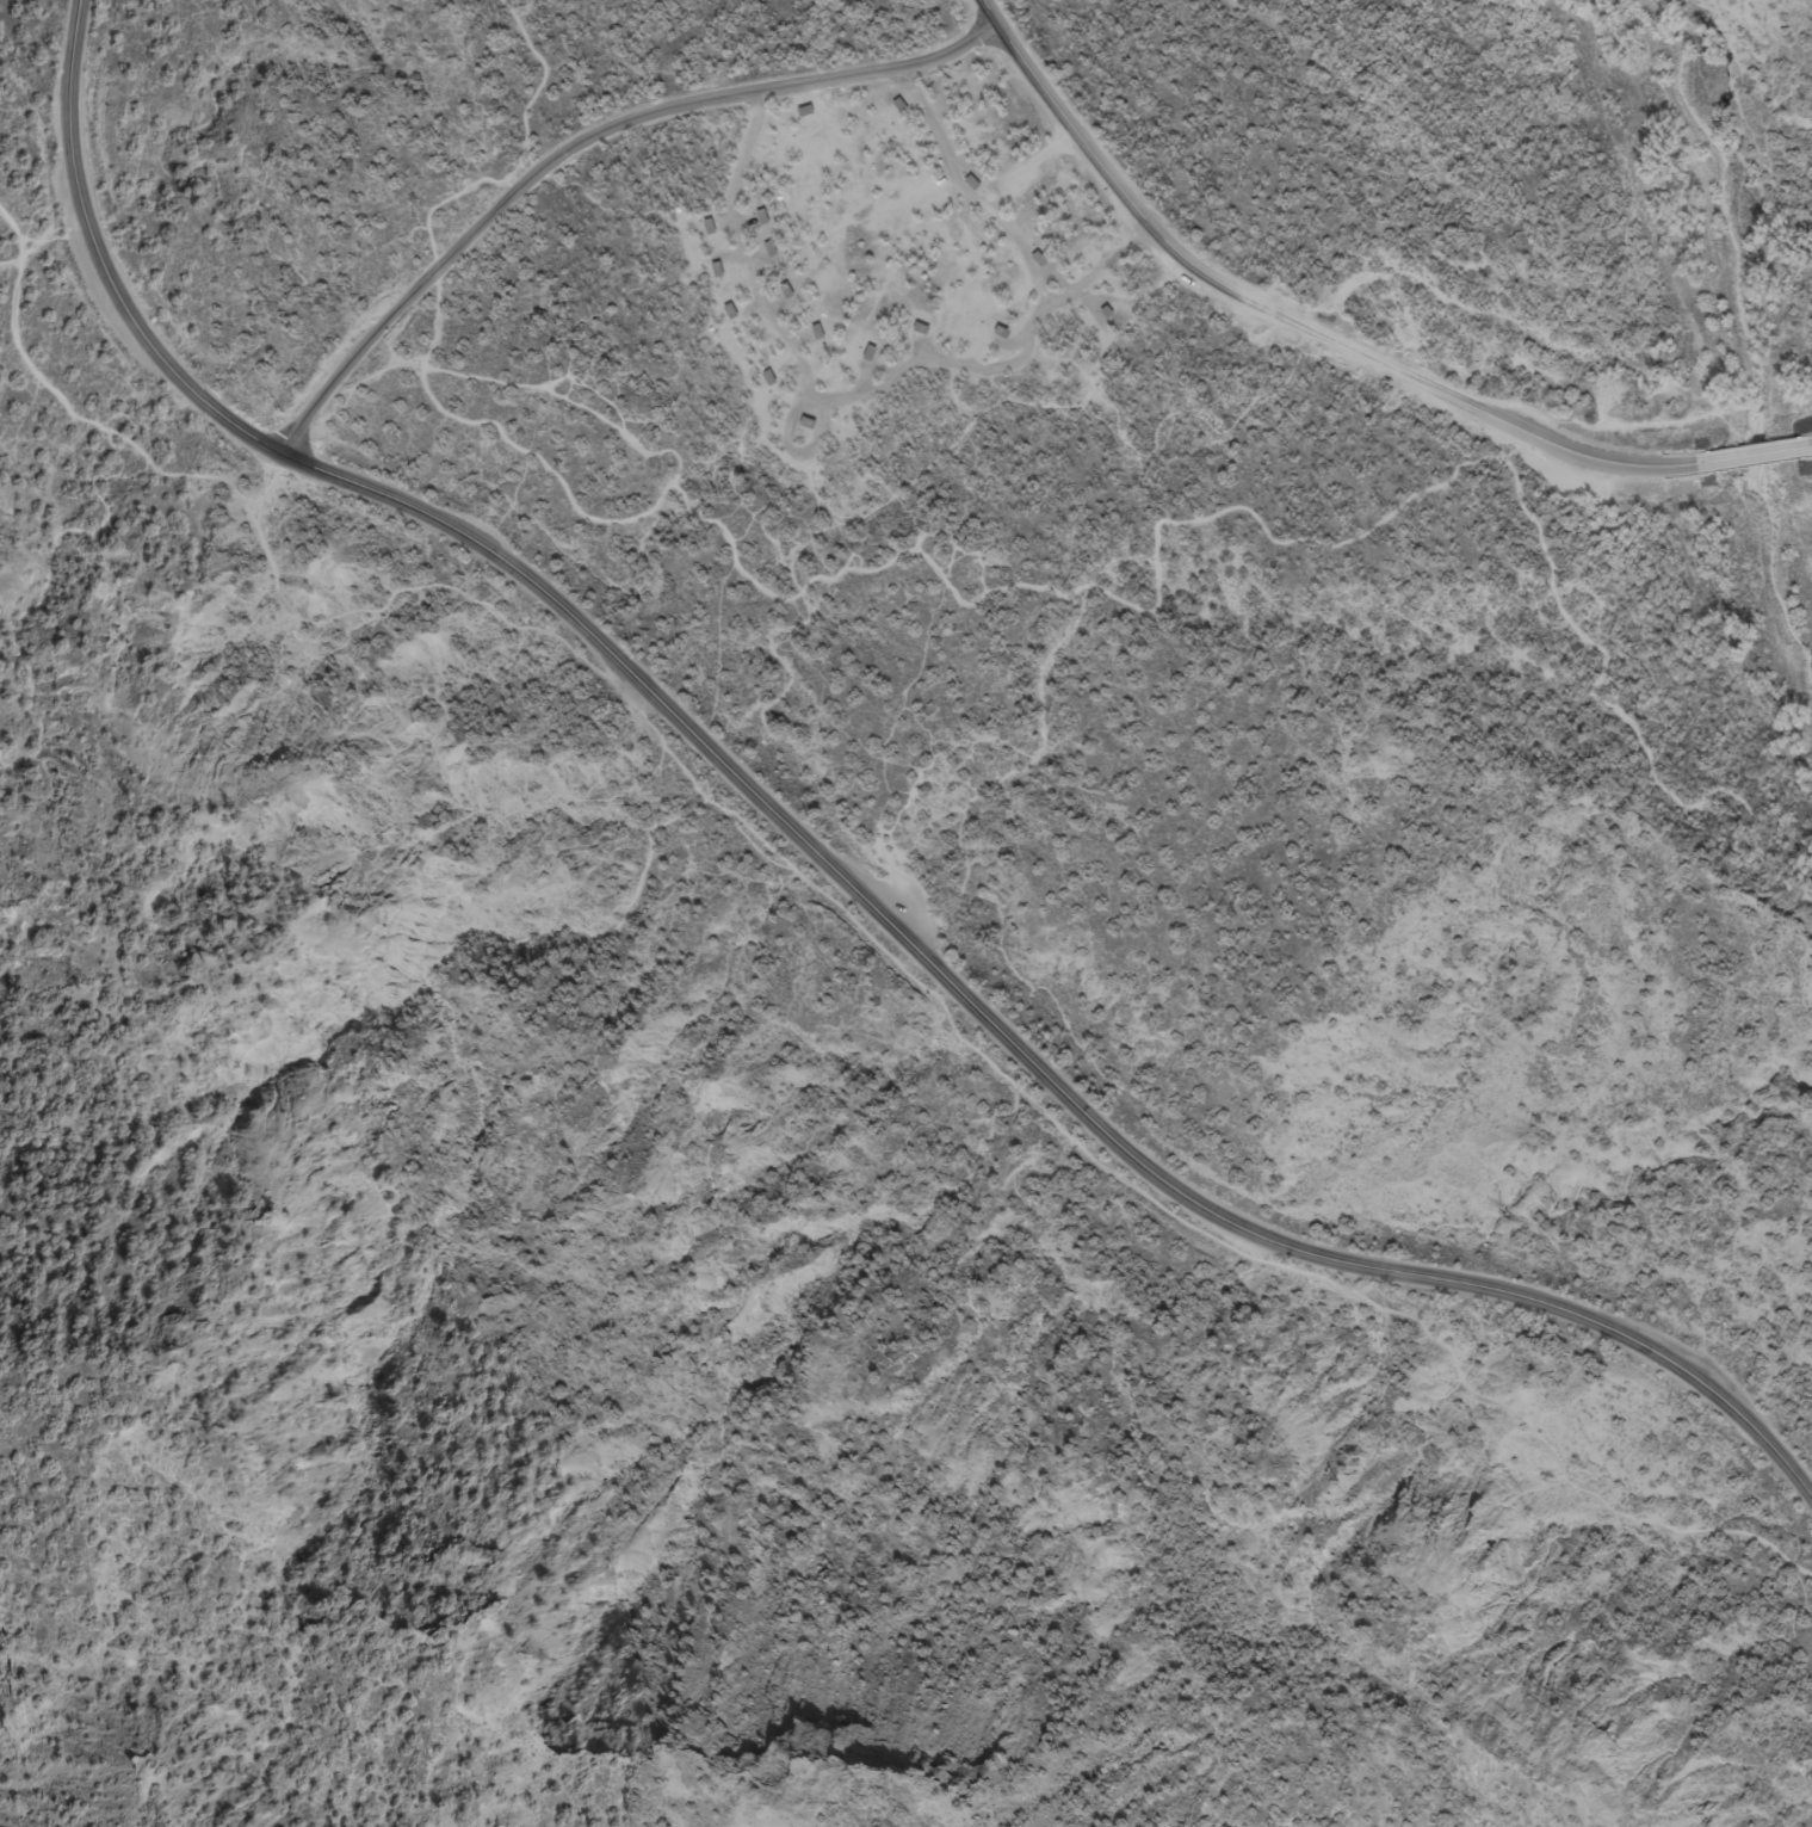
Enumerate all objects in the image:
building: (902, 106)
road: (969, 195)
road: (501, 202)
road: (1291, 320)
road: (775, 325)
river: (1746, 341)
road: (453, 371)
road: (1509, 444)
road: (1806, 446)
road: (1756, 453)
road: (760, 587)
road: (1624, 715)
road: (818, 856)
road: (834, 902)

